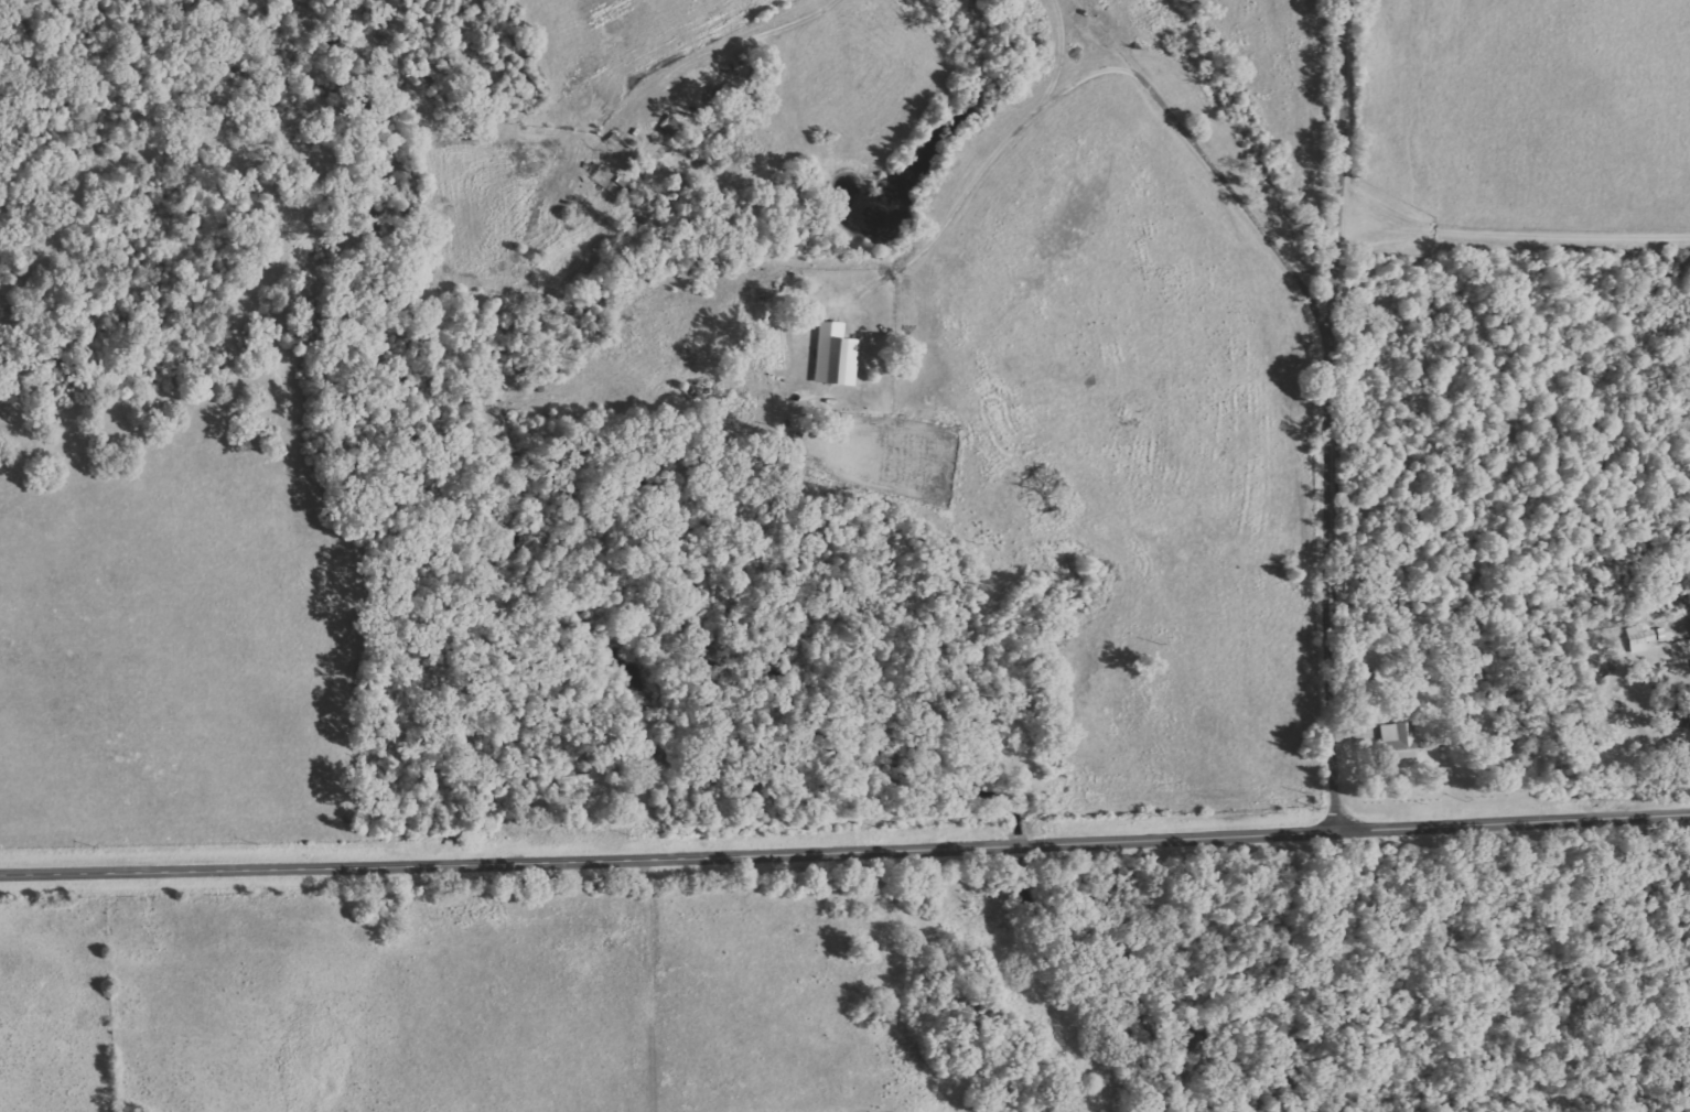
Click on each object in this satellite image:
building: (838, 355)
road: (1333, 415)
road: (1148, 453)
building: (1641, 637)
building: (1686, 710)
building: (1400, 741)
road: (844, 850)

